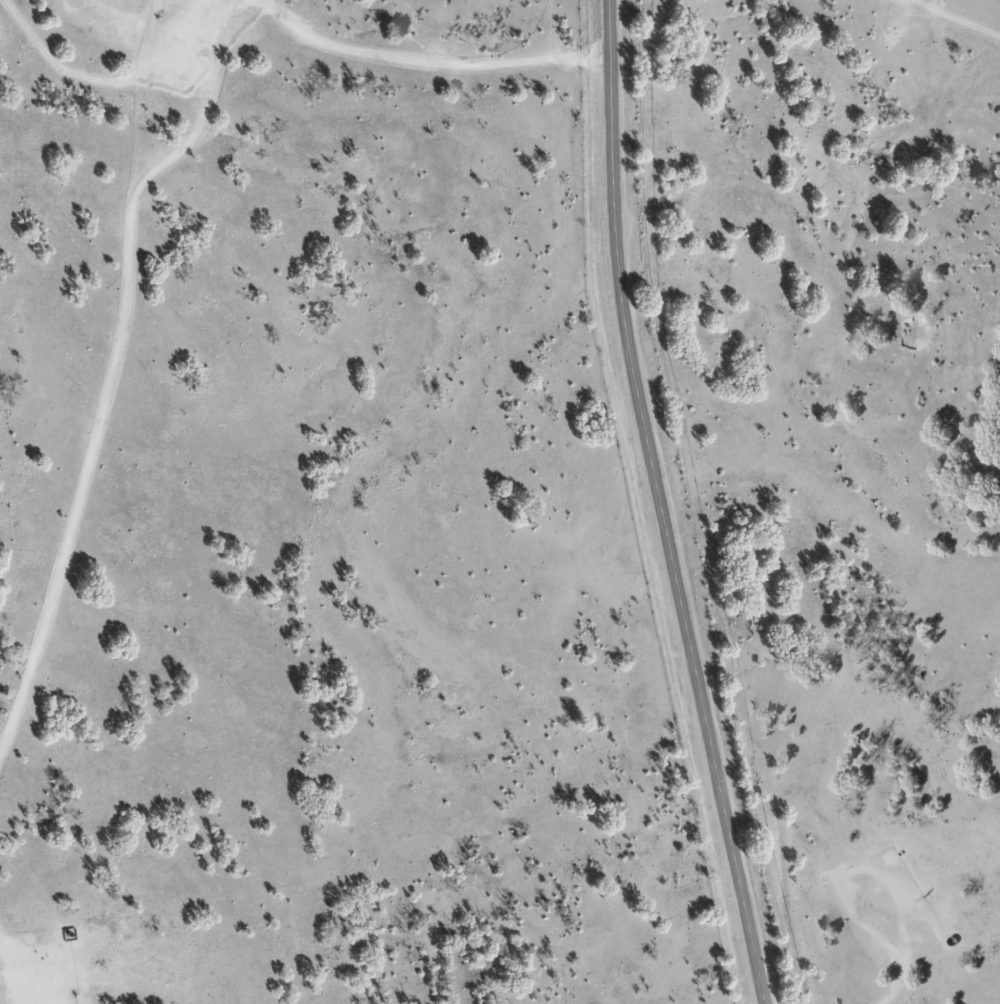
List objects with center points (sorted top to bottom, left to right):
road: (937, 20)
road: (662, 505)

